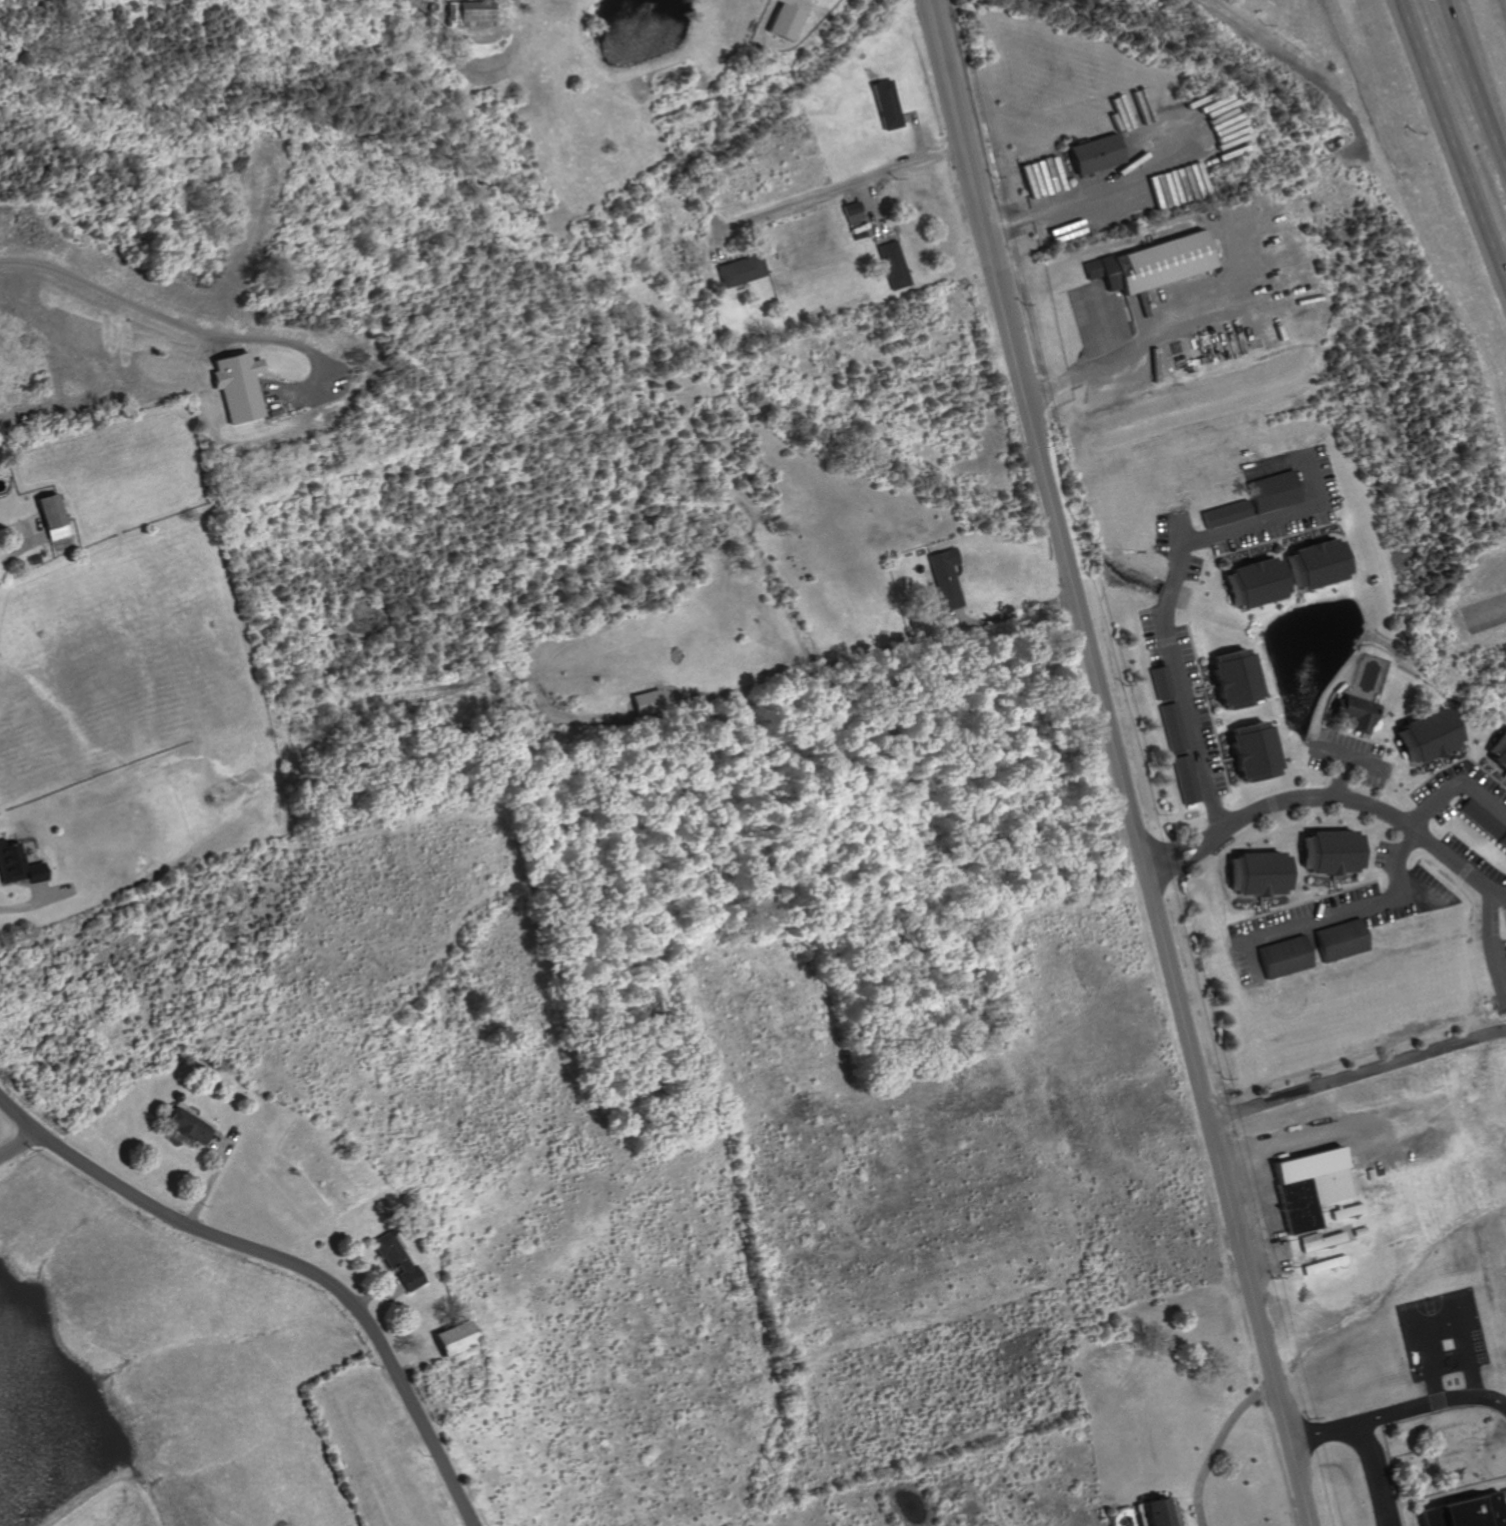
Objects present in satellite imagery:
building: (462, 12)
road: (1443, 15)
building: (784, 21)
road: (1477, 103)
building: (887, 104)
road: (1450, 145)
building: (1093, 154)
road: (844, 184)
road: (1049, 204)
building: (851, 211)
building: (893, 264)
building: (1153, 264)
building: (739, 270)
road: (180, 324)
road: (1130, 347)
building: (231, 385)
building: (1272, 491)
building: (1224, 514)
building: (49, 515)
road: (16, 546)
building: (1315, 563)
building: (945, 577)
building: (1254, 582)
road: (1009, 610)
road: (1166, 617)
road: (1485, 617)
building: (1233, 678)
building: (1159, 682)
building: (644, 702)
building: (1354, 712)
building: (1170, 727)
building: (1427, 735)
building: (1251, 751)
building: (1499, 754)
road: (1114, 764)
building: (1184, 779)
road: (1452, 783)
road: (1365, 807)
building: (1483, 821)
road: (1174, 845)
building: (1330, 852)
road: (1180, 861)
building: (16, 866)
building: (1257, 873)
road: (31, 903)
road: (1355, 903)
road: (1495, 923)
building: (1339, 940)
building: (1282, 957)
road: (1356, 1073)
building: (185, 1126)
road: (1294, 1140)
road: (17, 1145)
building: (1311, 1186)
road: (1260, 1218)
building: (1319, 1241)
building: (396, 1260)
road: (288, 1262)
park: (1432, 1311)
building: (453, 1338)
park: (1447, 1346)
road: (1425, 1403)
road: (1214, 1443)
road: (1365, 1446)
building: (1468, 1511)
building: (1151, 1513)

